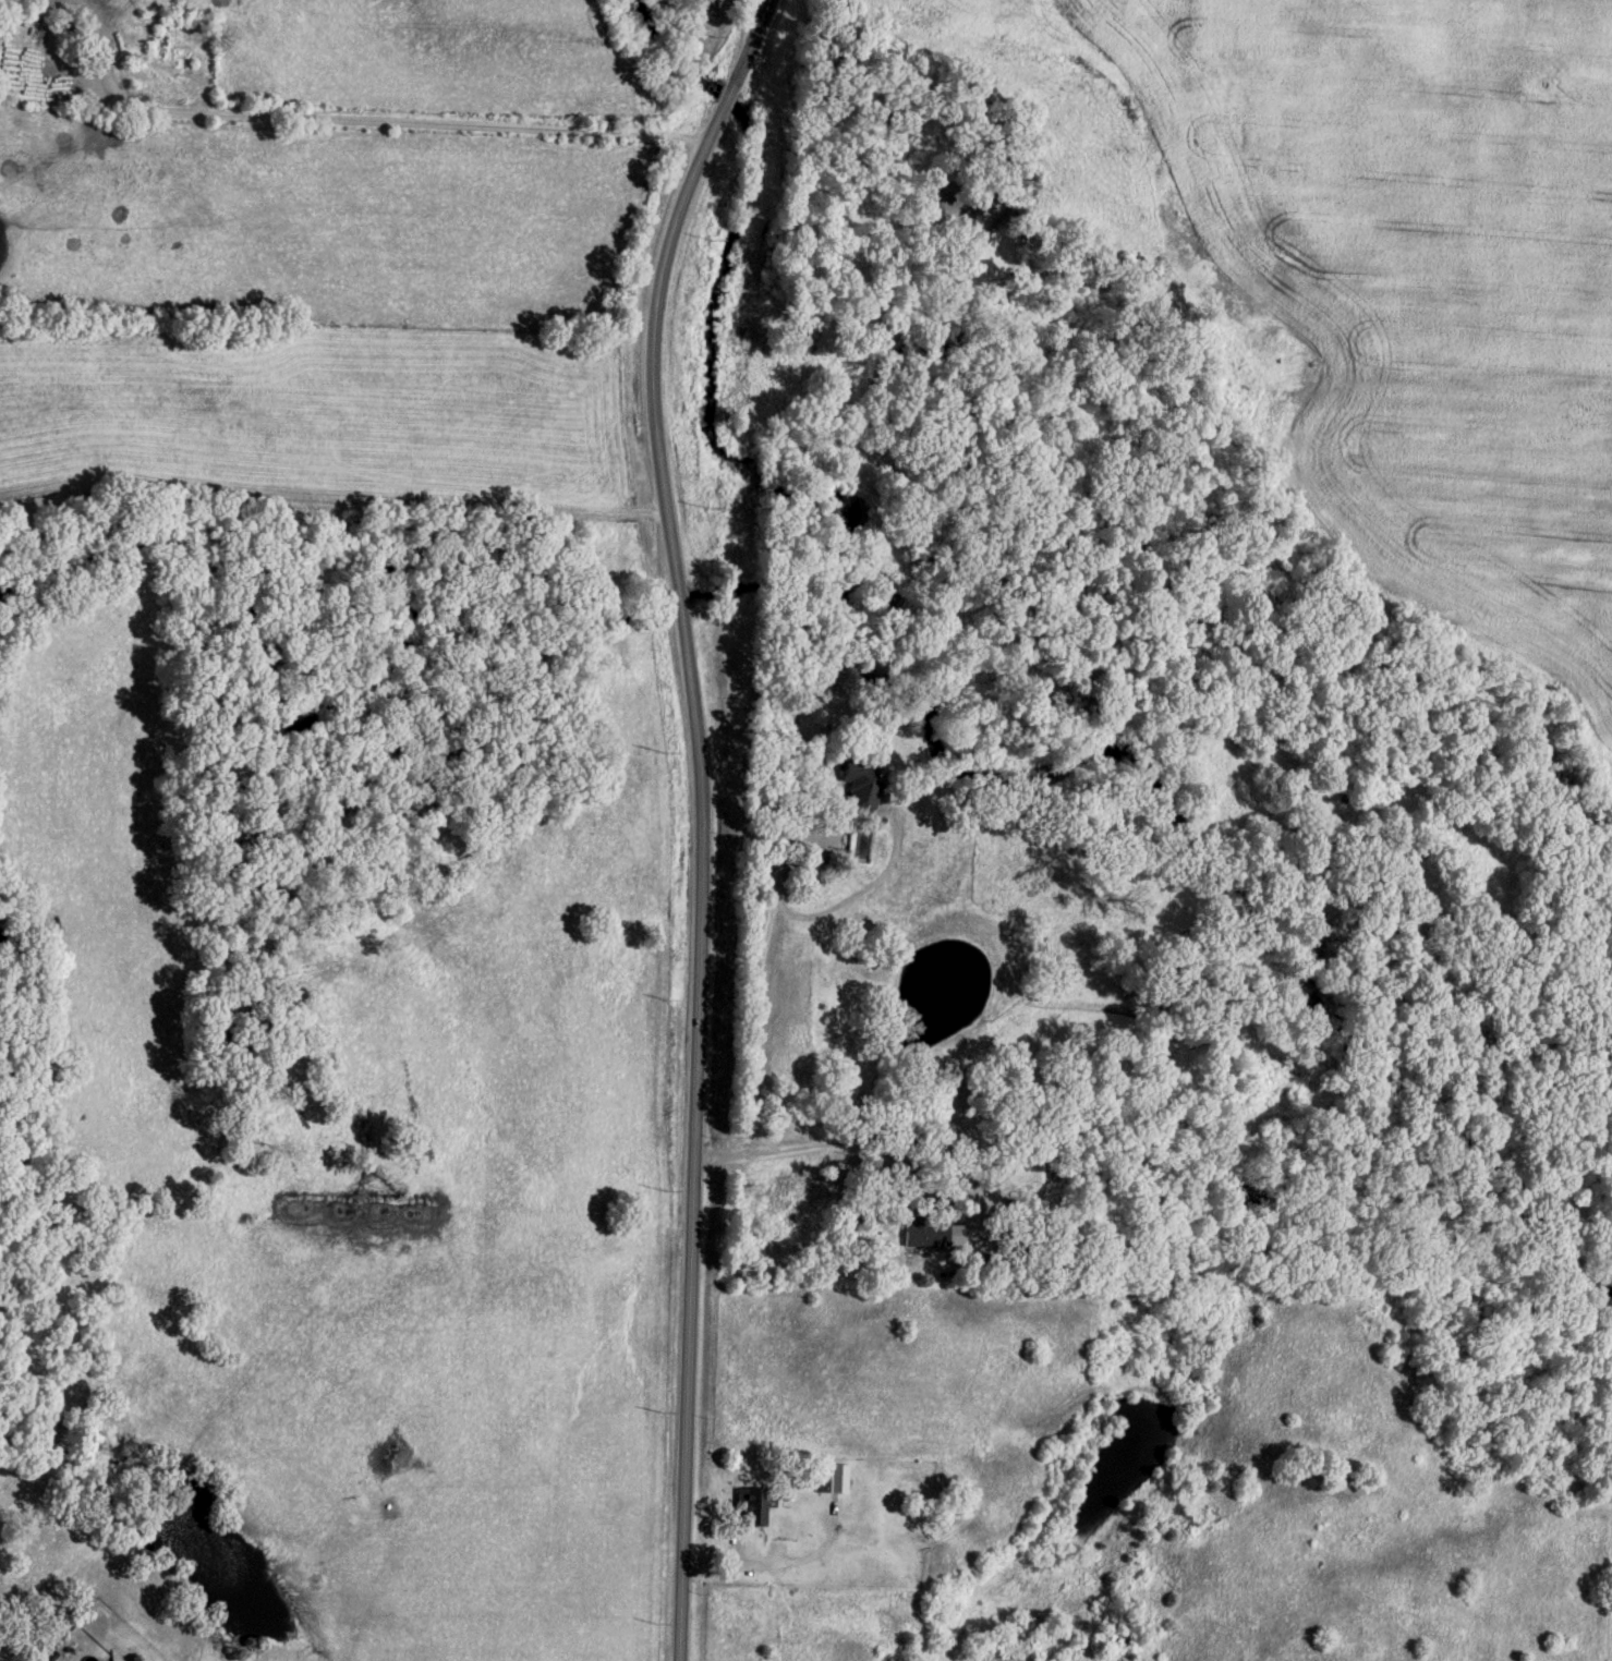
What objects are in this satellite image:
road: (364, 117)
building: (858, 784)
road: (768, 796)
road: (706, 817)
road: (920, 1122)
building: (931, 1229)
building: (831, 1474)
building: (748, 1502)
road: (780, 1551)
building: (110, 1660)

